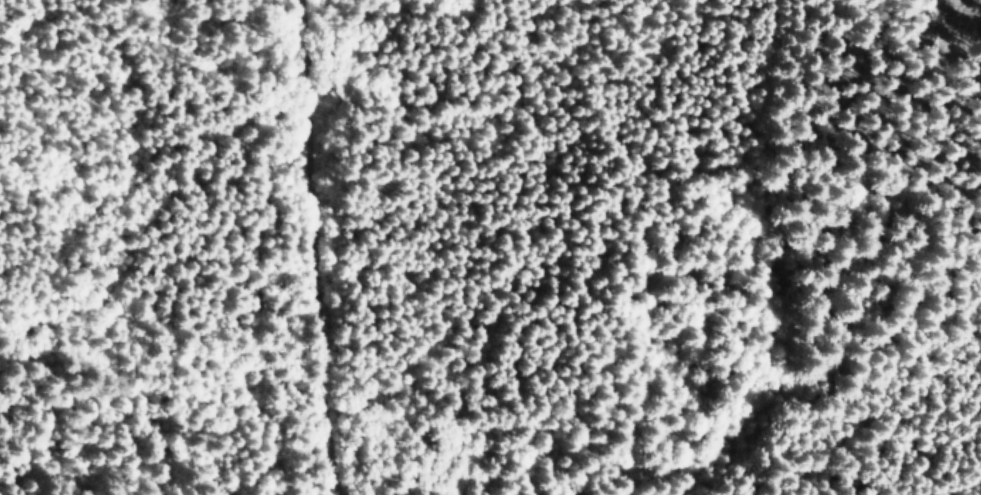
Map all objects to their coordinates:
road: (962, 18)
road: (320, 247)

